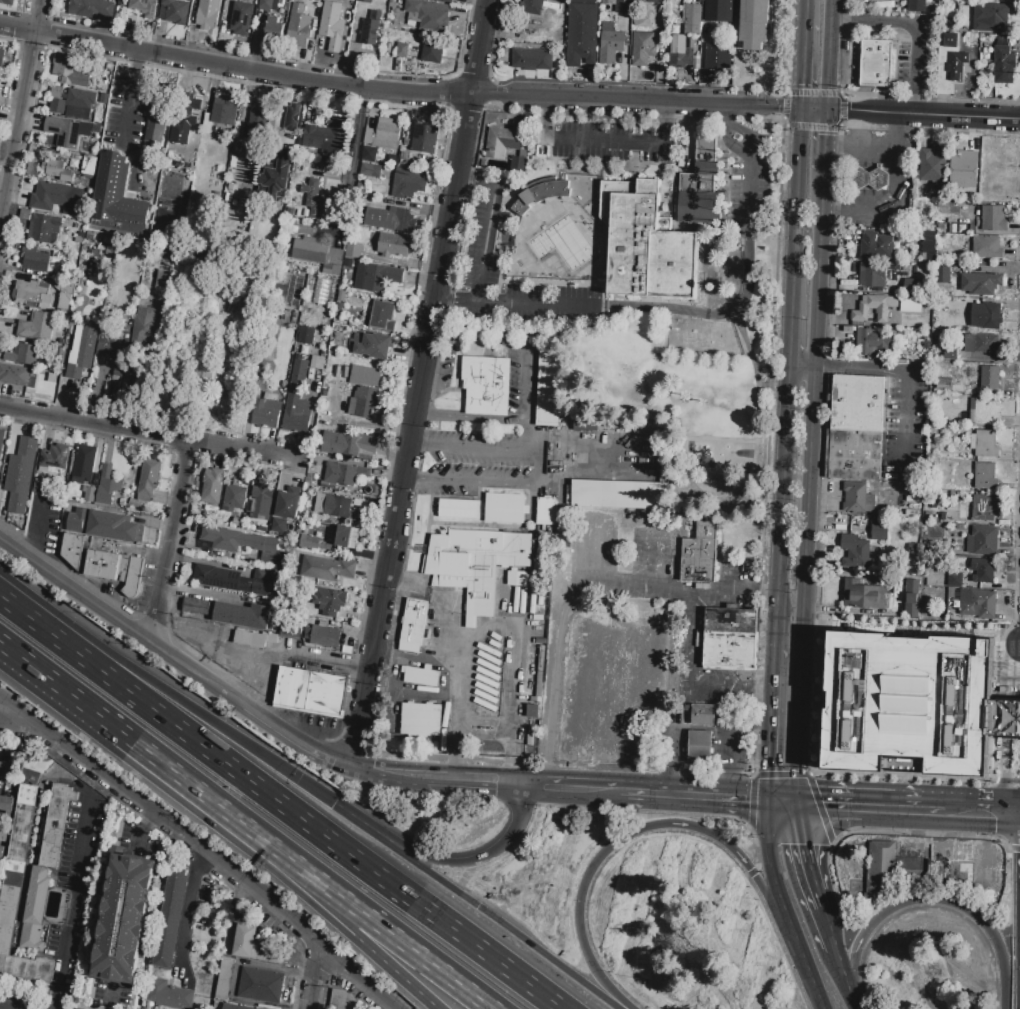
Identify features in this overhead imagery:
building: (349, 0)
building: (365, 1)
building: (444, 1)
building: (640, 1)
building: (656, 1)
building: (7, 2)
building: (265, 4)
building: (619, 5)
building: (916, 6)
building: (531, 7)
building: (91, 8)
building: (144, 8)
building: (673, 9)
building: (722, 9)
road: (805, 10)
building: (176, 11)
building: (427, 13)
building: (207, 15)
building: (992, 18)
building: (242, 19)
building: (692, 20)
road: (874, 20)
building: (754, 24)
building: (332, 26)
building: (298, 27)
building: (274, 29)
building: (370, 29)
building: (582, 32)
building: (949, 39)
building: (610, 44)
building: (643, 48)
building: (401, 50)
building: (432, 51)
building: (683, 52)
road: (828, 53)
building: (1, 55)
building: (717, 56)
building: (532, 60)
road: (916, 60)
road: (802, 63)
building: (875, 63)
building: (955, 63)
building: (398, 65)
building: (1004, 65)
road: (232, 67)
building: (72, 70)
traffic signals: (802, 85)
building: (103, 98)
building: (75, 102)
road: (744, 104)
building: (58, 106)
traffic signals: (777, 106)
road: (914, 106)
building: (188, 109)
traffic signals: (848, 110)
road: (19, 111)
road: (721, 112)
building: (216, 117)
building: (292, 118)
road: (545, 118)
building: (371, 120)
road: (666, 123)
road: (123, 127)
building: (336, 128)
building: (181, 129)
building: (63, 132)
building: (155, 132)
building: (256, 132)
building: (383, 134)
traffic signals: (825, 135)
building: (309, 136)
building: (424, 138)
road: (824, 139)
road: (605, 142)
road: (740, 144)
building: (508, 146)
road: (862, 147)
building: (705, 148)
building: (369, 154)
building: (965, 163)
road: (351, 164)
building: (998, 164)
building: (90, 166)
building: (301, 168)
building: (707, 168)
building: (31, 169)
building: (933, 169)
building: (58, 170)
building: (371, 171)
building: (858, 178)
building: (879, 178)
road: (474, 179)
building: (275, 180)
building: (408, 186)
building: (993, 189)
building: (117, 194)
building: (539, 195)
building: (51, 196)
building: (313, 198)
building: (698, 198)
road: (899, 200)
building: (944, 204)
building: (233, 209)
road: (795, 210)
building: (25, 215)
building: (991, 218)
building: (391, 219)
building: (941, 226)
building: (42, 228)
building: (928, 235)
building: (80, 240)
road: (483, 243)
building: (75, 244)
building: (645, 244)
building: (108, 245)
building: (393, 245)
building: (875, 246)
building: (987, 247)
building: (310, 250)
building: (353, 250)
park: (634, 254)
building: (931, 257)
building: (35, 259)
building: (333, 263)
building: (362, 268)
building: (855, 270)
building: (67, 275)
building: (873, 275)
building: (942, 276)
building: (381, 277)
building: (163, 279)
building: (359, 281)
building: (981, 284)
building: (911, 285)
building: (333, 292)
building: (14, 293)
building: (32, 293)
building: (341, 296)
building: (66, 297)
road: (743, 297)
road: (453, 302)
building: (938, 302)
road: (533, 304)
building: (910, 304)
building: (338, 307)
building: (986, 315)
building: (382, 316)
building: (859, 316)
building: (36, 327)
building: (144, 327)
building: (305, 335)
building: (57, 337)
road: (790, 339)
building: (340, 340)
building: (112, 343)
building: (509, 343)
building: (981, 343)
building: (874, 344)
building: (324, 345)
building: (370, 345)
building: (83, 348)
building: (303, 349)
building: (56, 351)
building: (25, 356)
building: (317, 363)
road: (848, 369)
building: (18, 375)
building: (365, 376)
building: (53, 377)
building: (990, 378)
road: (420, 383)
road: (523, 384)
building: (485, 385)
building: (947, 386)
building: (548, 388)
building: (297, 399)
building: (363, 402)
building: (857, 403)
building: (267, 411)
building: (985, 412)
road: (484, 417)
road: (907, 421)
building: (585, 424)
building: (273, 434)
road: (148, 436)
building: (1, 439)
road: (421, 442)
building: (984, 444)
building: (349, 445)
road: (485, 445)
building: (853, 455)
building: (54, 456)
building: (555, 460)
building: (84, 464)
building: (20, 474)
building: (346, 474)
building: (986, 476)
building: (148, 477)
road: (414, 479)
road: (500, 481)
building: (108, 485)
building: (212, 485)
road: (811, 489)
building: (88, 494)
building: (617, 494)
building: (234, 498)
building: (857, 498)
building: (260, 502)
building: (135, 503)
building: (288, 503)
road: (783, 503)
building: (335, 507)
building: (985, 507)
building: (504, 508)
building: (458, 509)
building: (547, 511)
building: (76, 520)
building: (238, 522)
building: (279, 525)
building: (113, 527)
road: (39, 528)
building: (879, 530)
building: (347, 537)
building: (982, 541)
road: (171, 542)
building: (236, 542)
building: (308, 542)
building: (913, 546)
building: (72, 548)
building: (854, 552)
building: (700, 553)
road: (648, 559)
building: (476, 564)
building: (102, 565)
building: (327, 568)
building: (982, 571)
building: (130, 574)
building: (516, 578)
building: (234, 579)
building: (955, 580)
road: (739, 591)
building: (863, 595)
building: (911, 597)
building: (334, 602)
road: (697, 602)
building: (979, 605)
building: (195, 606)
building: (240, 616)
road: (124, 620)
building: (413, 625)
building: (325, 637)
building: (254, 638)
building: (730, 639)
road: (292, 657)
road: (456, 659)
road: (1017, 668)
road: (148, 675)
building: (419, 676)
road: (1018, 684)
building: (535, 688)
road: (762, 689)
building: (310, 690)
road: (554, 690)
building: (913, 697)
building: (532, 711)
road: (15, 712)
building: (703, 715)
building: (420, 719)
building: (679, 720)
road: (15, 721)
road: (773, 724)
road: (508, 733)
road: (673, 733)
road: (297, 740)
building: (529, 740)
road: (732, 744)
building: (699, 746)
road: (136, 751)
building: (611, 755)
road: (1006, 755)
building: (8, 770)
traffic signals: (771, 772)
road: (438, 781)
road: (315, 790)
road: (572, 793)
road: (691, 800)
road: (279, 801)
traffic signals: (743, 803)
building: (6, 804)
road: (782, 805)
traffic signals: (823, 807)
road: (871, 809)
road: (983, 813)
building: (56, 824)
road: (375, 831)
building: (3, 836)
road: (626, 836)
traffic signals: (800, 845)
building: (2, 853)
road: (492, 855)
road: (802, 857)
road: (214, 860)
building: (890, 866)
building: (954, 872)
building: (20, 895)
road: (71, 899)
road: (783, 909)
road: (190, 911)
building: (35, 912)
building: (171, 918)
building: (124, 920)
road: (823, 930)
road: (868, 931)
road: (378, 932)
road: (351, 934)
road: (517, 936)
road: (994, 939)
building: (255, 946)
building: (223, 979)
road: (319, 980)
road: (843, 980)
building: (260, 985)
building: (168, 995)
building: (341, 1000)
road: (53, 1003)
building: (236, 1007)
road: (2, 1008)

